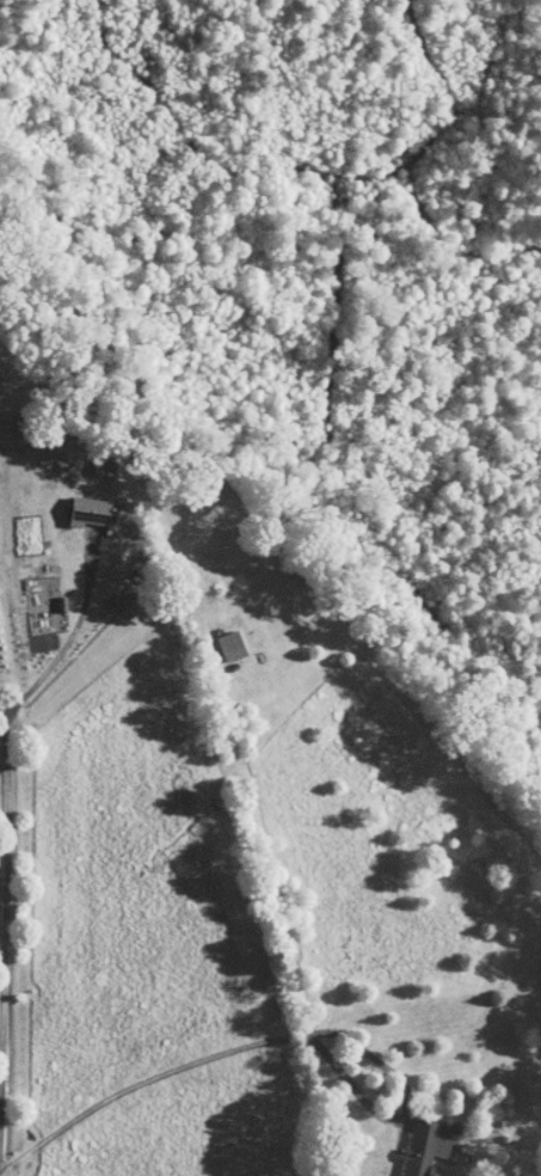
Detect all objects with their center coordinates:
building: (79, 502)
building: (222, 636)
road: (66, 639)
road: (5, 932)
road: (145, 1080)
road: (407, 1107)
building: (413, 1140)

